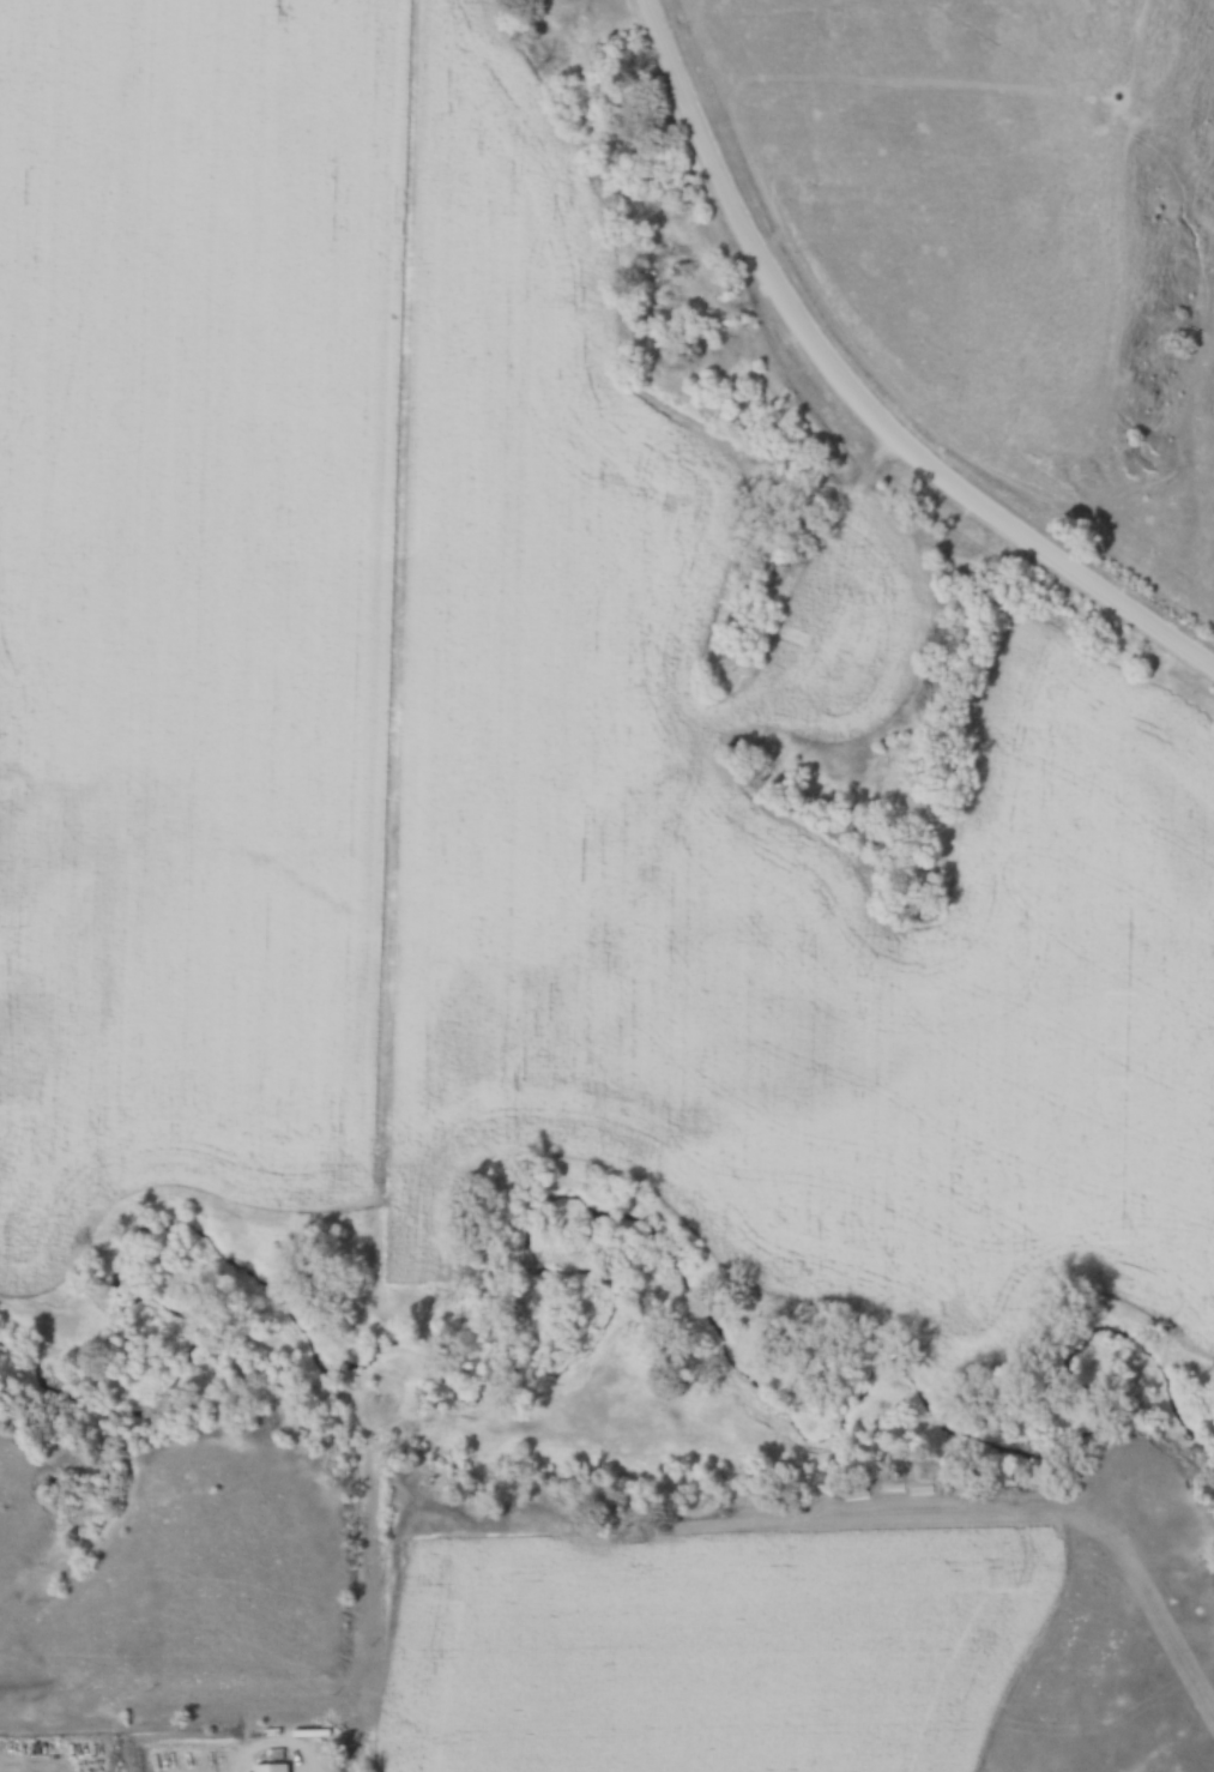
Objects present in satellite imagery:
road: (854, 393)
crop: (725, 1651)
building: (272, 1765)
building: (286, 1771)

